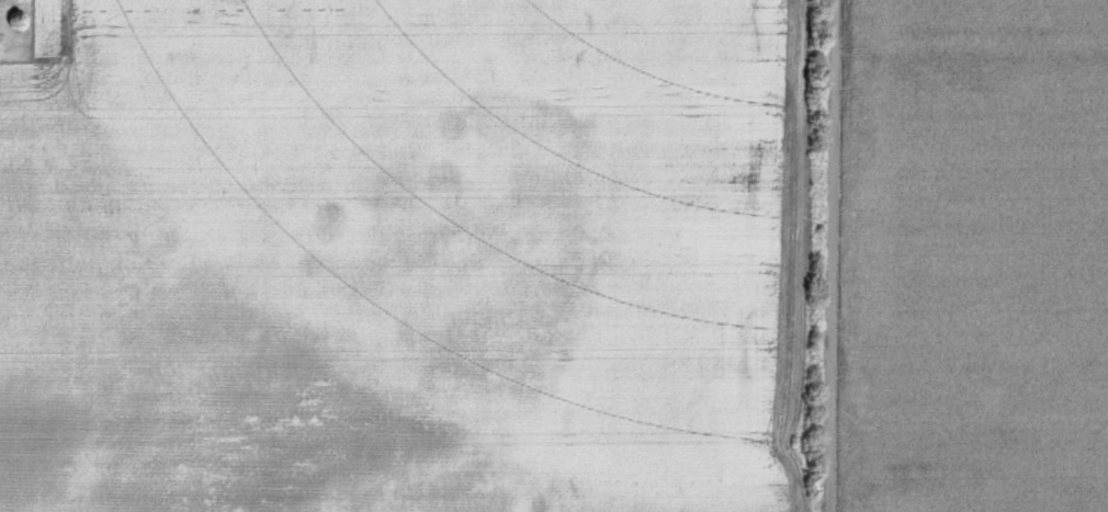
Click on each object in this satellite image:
road: (835, 255)

